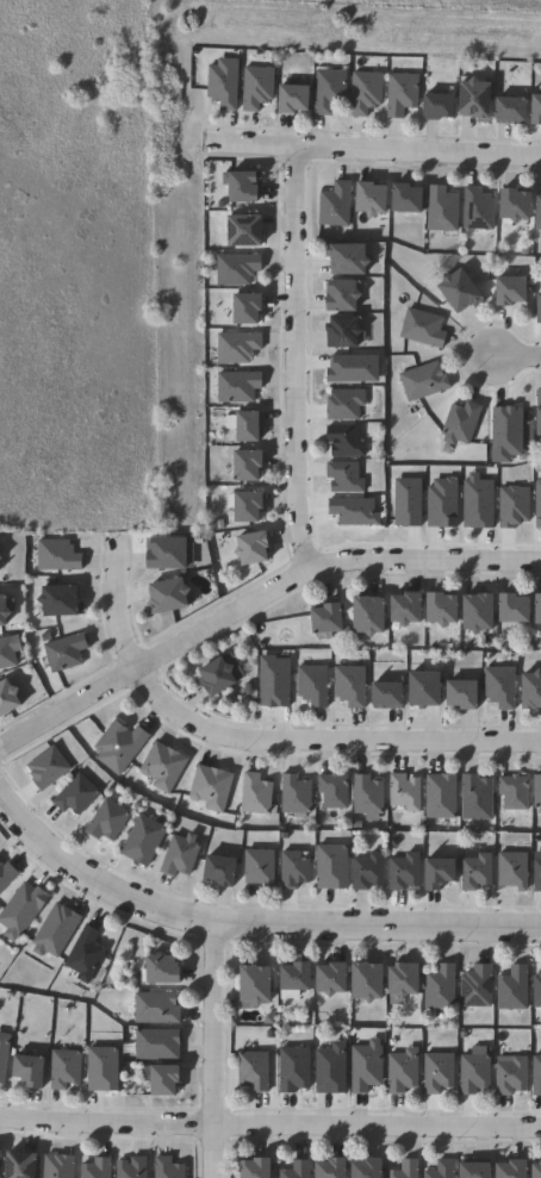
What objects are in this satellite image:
building: (223, 86)
building: (257, 87)
building: (330, 91)
building: (366, 93)
building: (403, 93)
building: (296, 98)
building: (479, 98)
building: (441, 105)
building: (537, 108)
building: (515, 110)
road: (371, 150)
building: (234, 186)
building: (374, 198)
building: (410, 198)
building: (511, 204)
building: (330, 205)
building: (442, 208)
building: (479, 210)
building: (534, 213)
building: (236, 231)
building: (353, 258)
building: (230, 269)
building: (464, 291)
building: (515, 291)
building: (346, 295)
building: (238, 308)
building: (536, 308)
building: (424, 328)
building: (347, 332)
building: (231, 347)
road: (514, 359)
road: (293, 360)
building: (418, 382)
building: (238, 387)
building: (539, 399)
building: (462, 423)
building: (240, 428)
building: (346, 442)
building: (250, 466)
building: (346, 476)
building: (402, 501)
building: (472, 501)
building: (437, 504)
building: (535, 505)
building: (509, 506)
building: (250, 507)
building: (255, 548)
building: (170, 554)
building: (57, 555)
building: (1, 556)
road: (255, 597)
building: (169, 598)
building: (62, 602)
building: (410, 610)
building: (446, 610)
building: (518, 610)
building: (5, 612)
building: (483, 613)
building: (540, 615)
building: (373, 616)
building: (330, 619)
building: (66, 653)
building: (8, 654)
building: (220, 677)
building: (313, 685)
building: (352, 686)
building: (502, 687)
building: (429, 691)
building: (534, 692)
building: (467, 696)
building: (392, 697)
building: (10, 700)
road: (253, 742)
building: (120, 746)
building: (164, 767)
building: (41, 769)
building: (212, 789)
building: (334, 791)
building: (406, 793)
building: (516, 793)
building: (296, 794)
building: (540, 794)
building: (76, 796)
building: (256, 796)
building: (368, 796)
building: (442, 797)
building: (477, 799)
building: (110, 822)
building: (144, 842)
building: (182, 856)
building: (334, 868)
building: (262, 870)
building: (297, 871)
building: (369, 872)
building: (515, 872)
building: (537, 872)
building: (7, 873)
building: (225, 873)
building: (405, 873)
building: (443, 874)
building: (478, 874)
road: (88, 897)
building: (15, 908)
road: (251, 924)
building: (49, 930)
road: (368, 945)
building: (86, 952)
building: (166, 968)
building: (299, 974)
building: (335, 977)
building: (371, 979)
building: (406, 980)
building: (259, 983)
building: (441, 986)
building: (478, 986)
building: (511, 989)
building: (534, 990)
building: (156, 1008)
building: (158, 1043)
road: (212, 1049)
building: (4, 1054)
building: (368, 1066)
building: (66, 1067)
building: (297, 1067)
building: (32, 1068)
building: (104, 1068)
building: (332, 1068)
building: (255, 1070)
building: (404, 1070)
building: (440, 1071)
building: (477, 1072)
building: (510, 1073)
building: (167, 1078)
building: (534, 1078)
road: (182, 1110)
road: (300, 1111)
road: (269, 1126)
road: (224, 1160)
building: (13, 1164)
building: (58, 1166)
building: (133, 1167)
building: (260, 1167)
building: (335, 1167)
building: (371, 1167)
building: (98, 1168)
building: (169, 1168)
building: (298, 1168)
building: (406, 1168)
building: (509, 1168)
building: (442, 1170)
building: (479, 1170)
building: (531, 1170)

